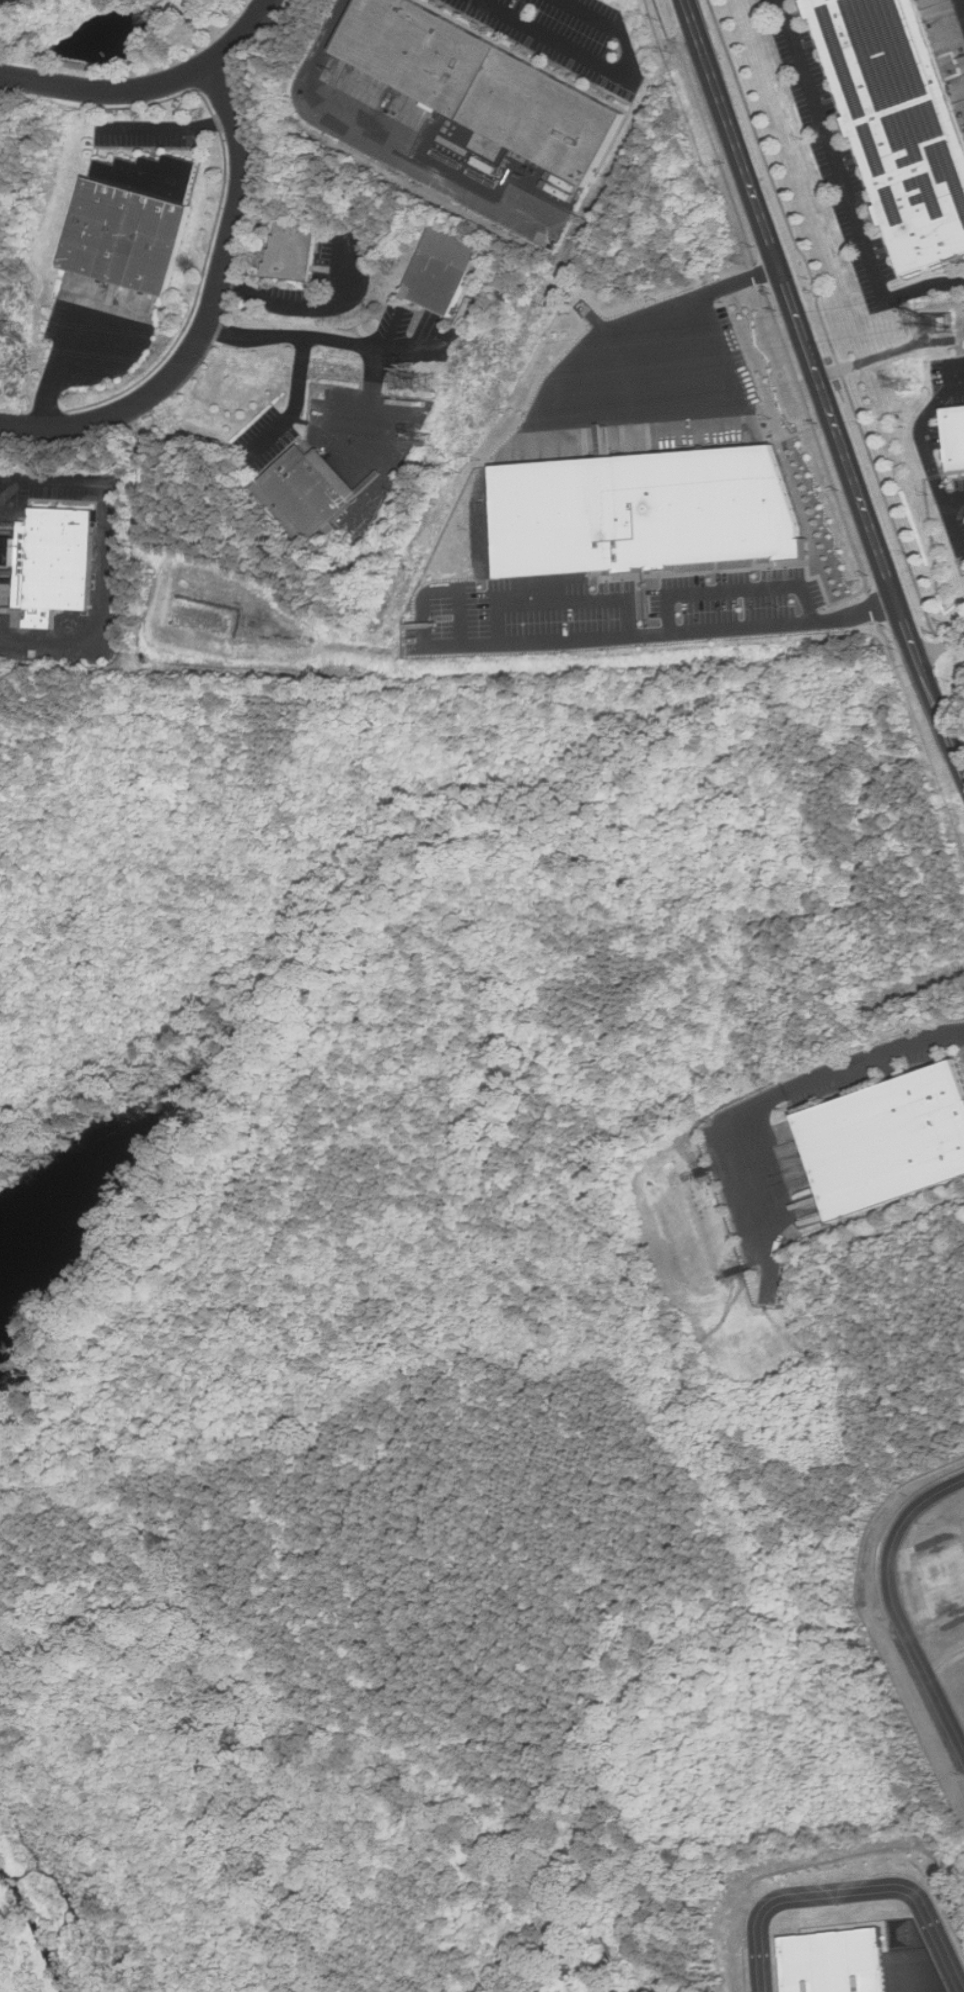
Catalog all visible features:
road: (603, 63)
building: (484, 85)
road: (148, 86)
building: (897, 123)
road: (170, 132)
road: (385, 137)
road: (842, 190)
building: (135, 221)
building: (297, 252)
building: (443, 270)
road: (302, 306)
road: (209, 312)
building: (944, 321)
power tower: (949, 324)
power tower: (15, 328)
road: (314, 337)
power tower: (431, 384)
power tower: (909, 386)
road: (826, 389)
road: (296, 407)
road: (552, 413)
road: (920, 431)
building: (952, 438)
power tower: (425, 439)
building: (310, 493)
road: (952, 501)
building: (653, 509)
road: (949, 530)
building: (59, 564)
road: (110, 565)
road: (737, 583)
road: (429, 606)
road: (596, 638)
road: (944, 648)
road: (788, 1090)
building: (888, 1141)
road: (895, 1609)
road: (849, 1891)
building: (834, 1960)
road: (598, 1982)
building: (637, 1990)

